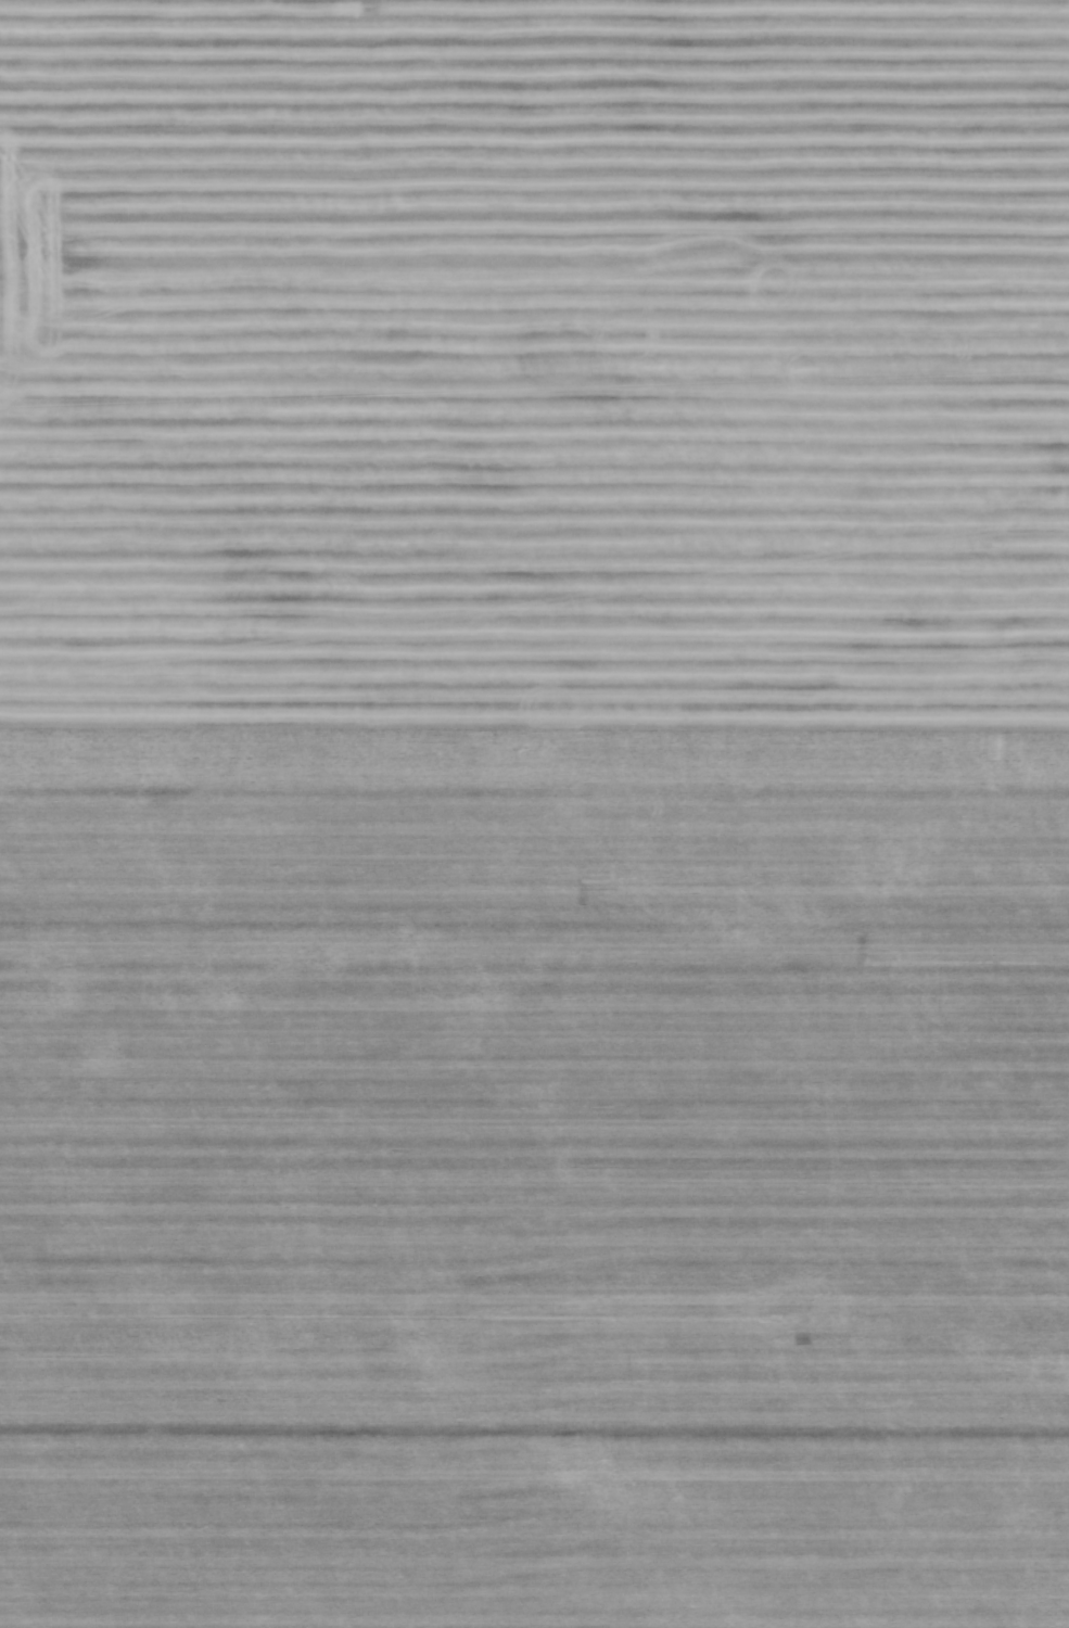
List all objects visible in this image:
crop: (534, 814)

